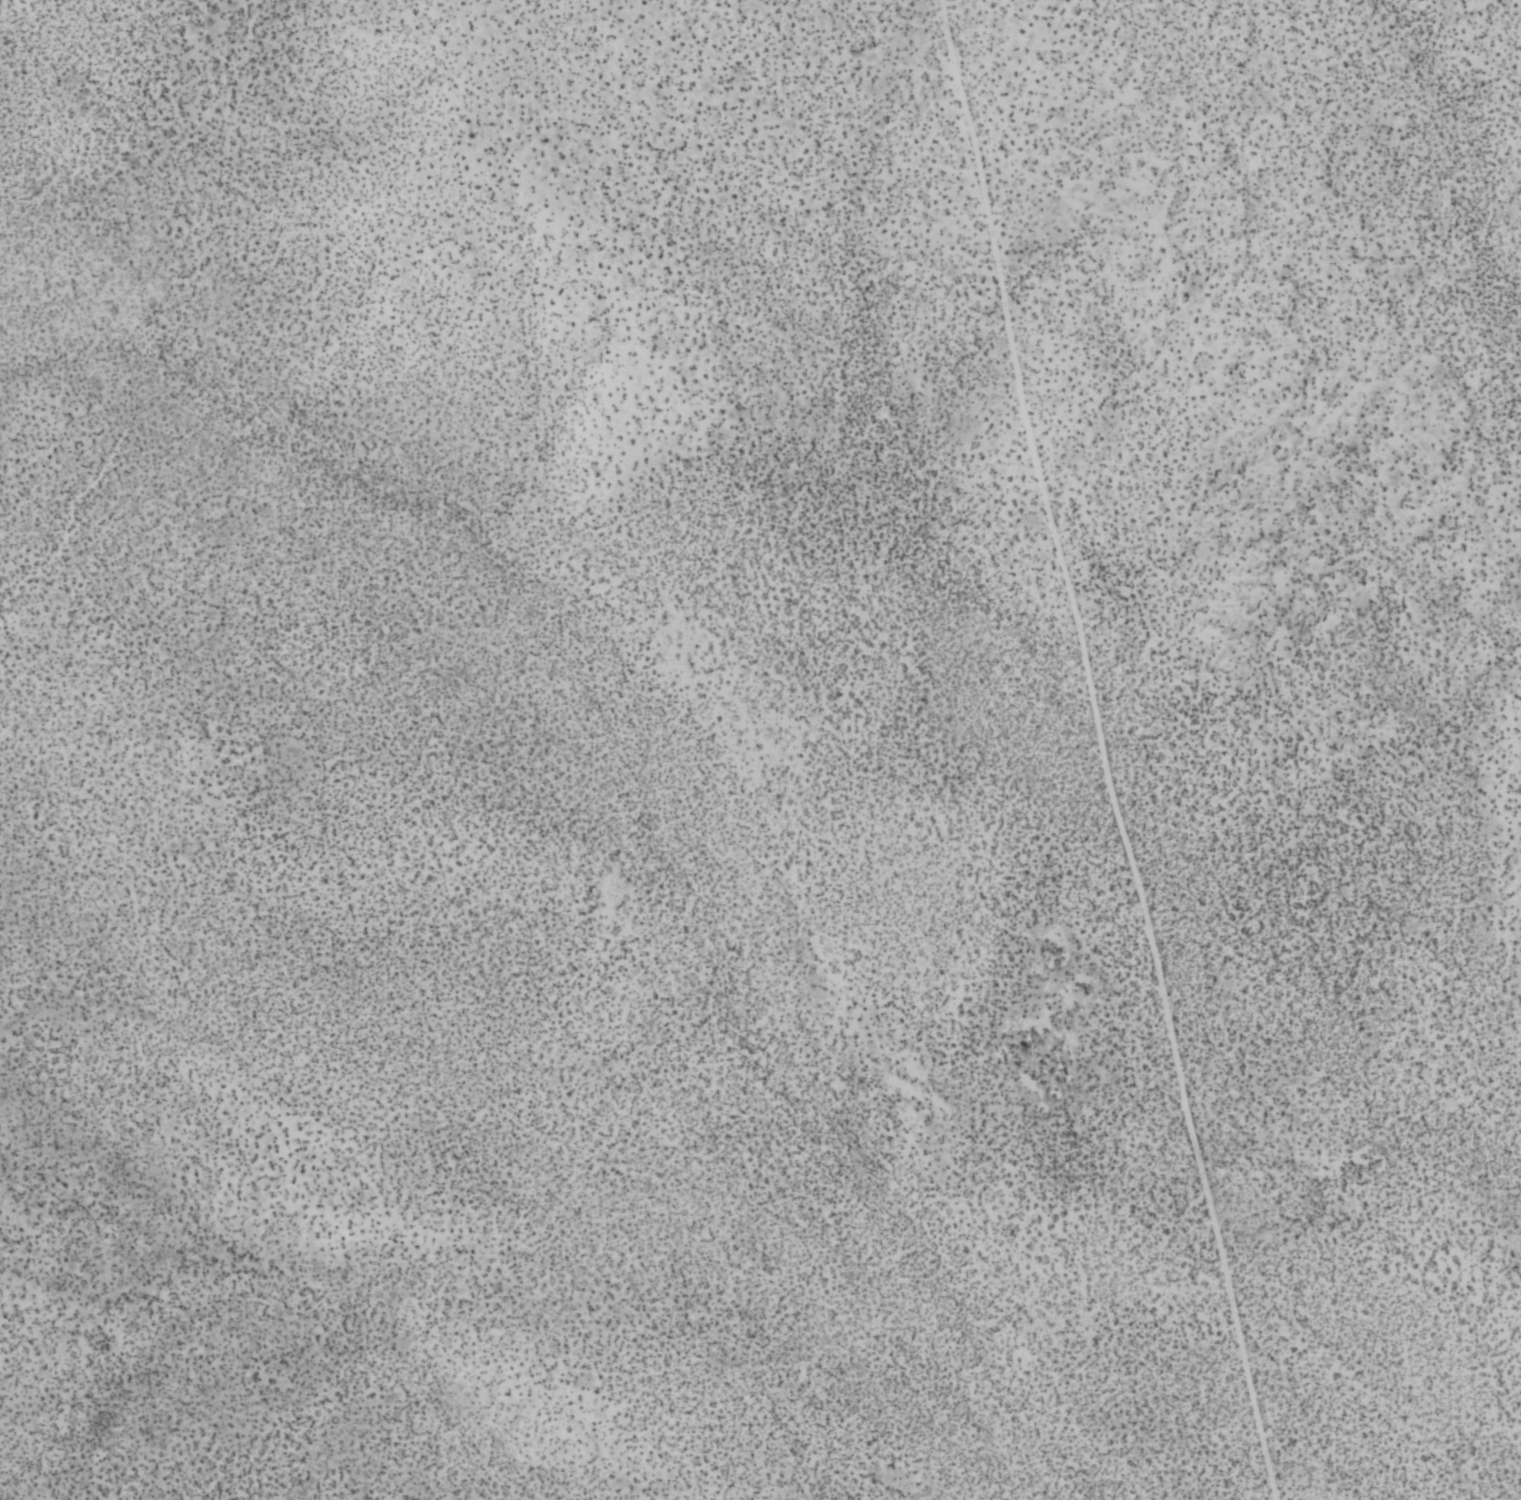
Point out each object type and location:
road: (1121, 750)

